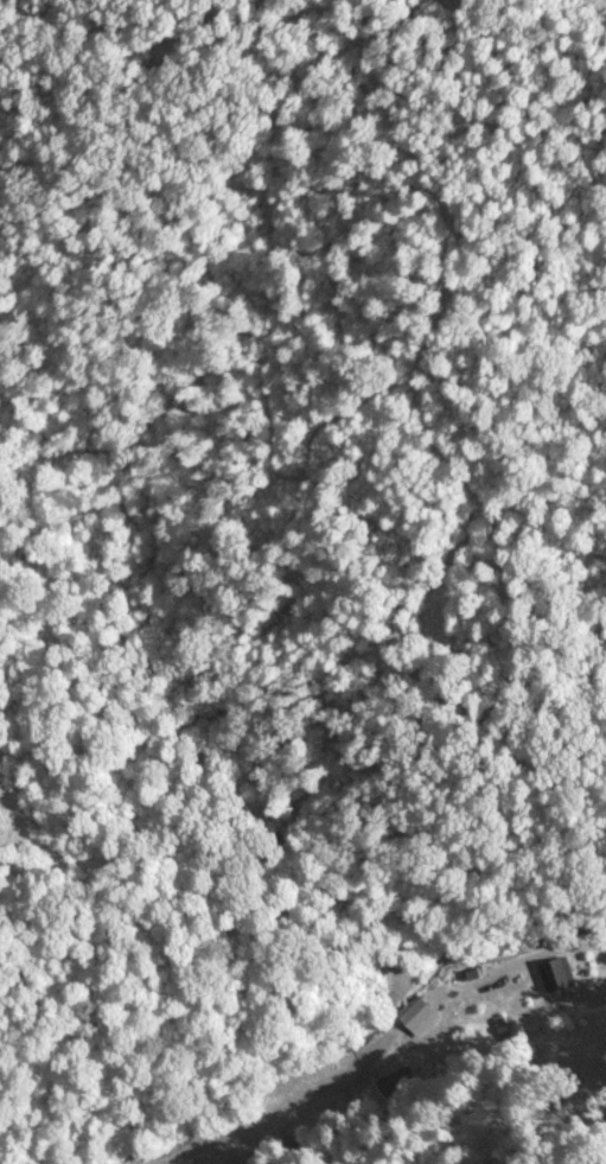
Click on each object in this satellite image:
road: (531, 960)
building: (557, 973)
building: (415, 1016)

